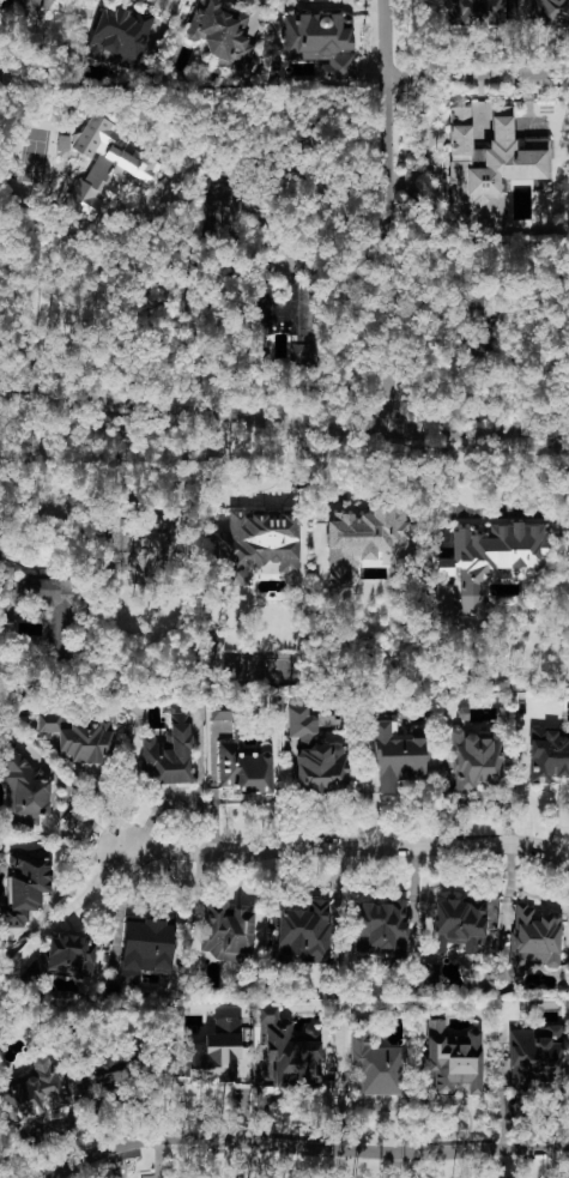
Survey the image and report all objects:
building: (36, 10)
building: (473, 12)
building: (550, 12)
road: (171, 13)
building: (220, 35)
building: (120, 37)
building: (321, 43)
road: (476, 78)
building: (489, 164)
building: (104, 165)
road: (383, 216)
road: (187, 254)
building: (279, 306)
building: (482, 308)
road: (12, 386)
road: (295, 428)
road: (448, 487)
road: (30, 496)
road: (252, 497)
building: (363, 539)
building: (259, 543)
building: (145, 549)
building: (492, 560)
building: (442, 605)
building: (61, 612)
building: (80, 738)
building: (169, 754)
building: (397, 755)
building: (547, 755)
building: (316, 756)
building: (474, 760)
building: (246, 768)
building: (22, 791)
road: (346, 846)
building: (25, 886)
building: (459, 925)
building: (381, 928)
building: (226, 932)
building: (305, 934)
building: (534, 941)
building: (146, 947)
building: (62, 957)
building: (557, 1035)
building: (213, 1053)
building: (285, 1056)
building: (533, 1057)
building: (453, 1059)
building: (374, 1064)
building: (110, 1070)
building: (34, 1093)
road: (308, 1147)

